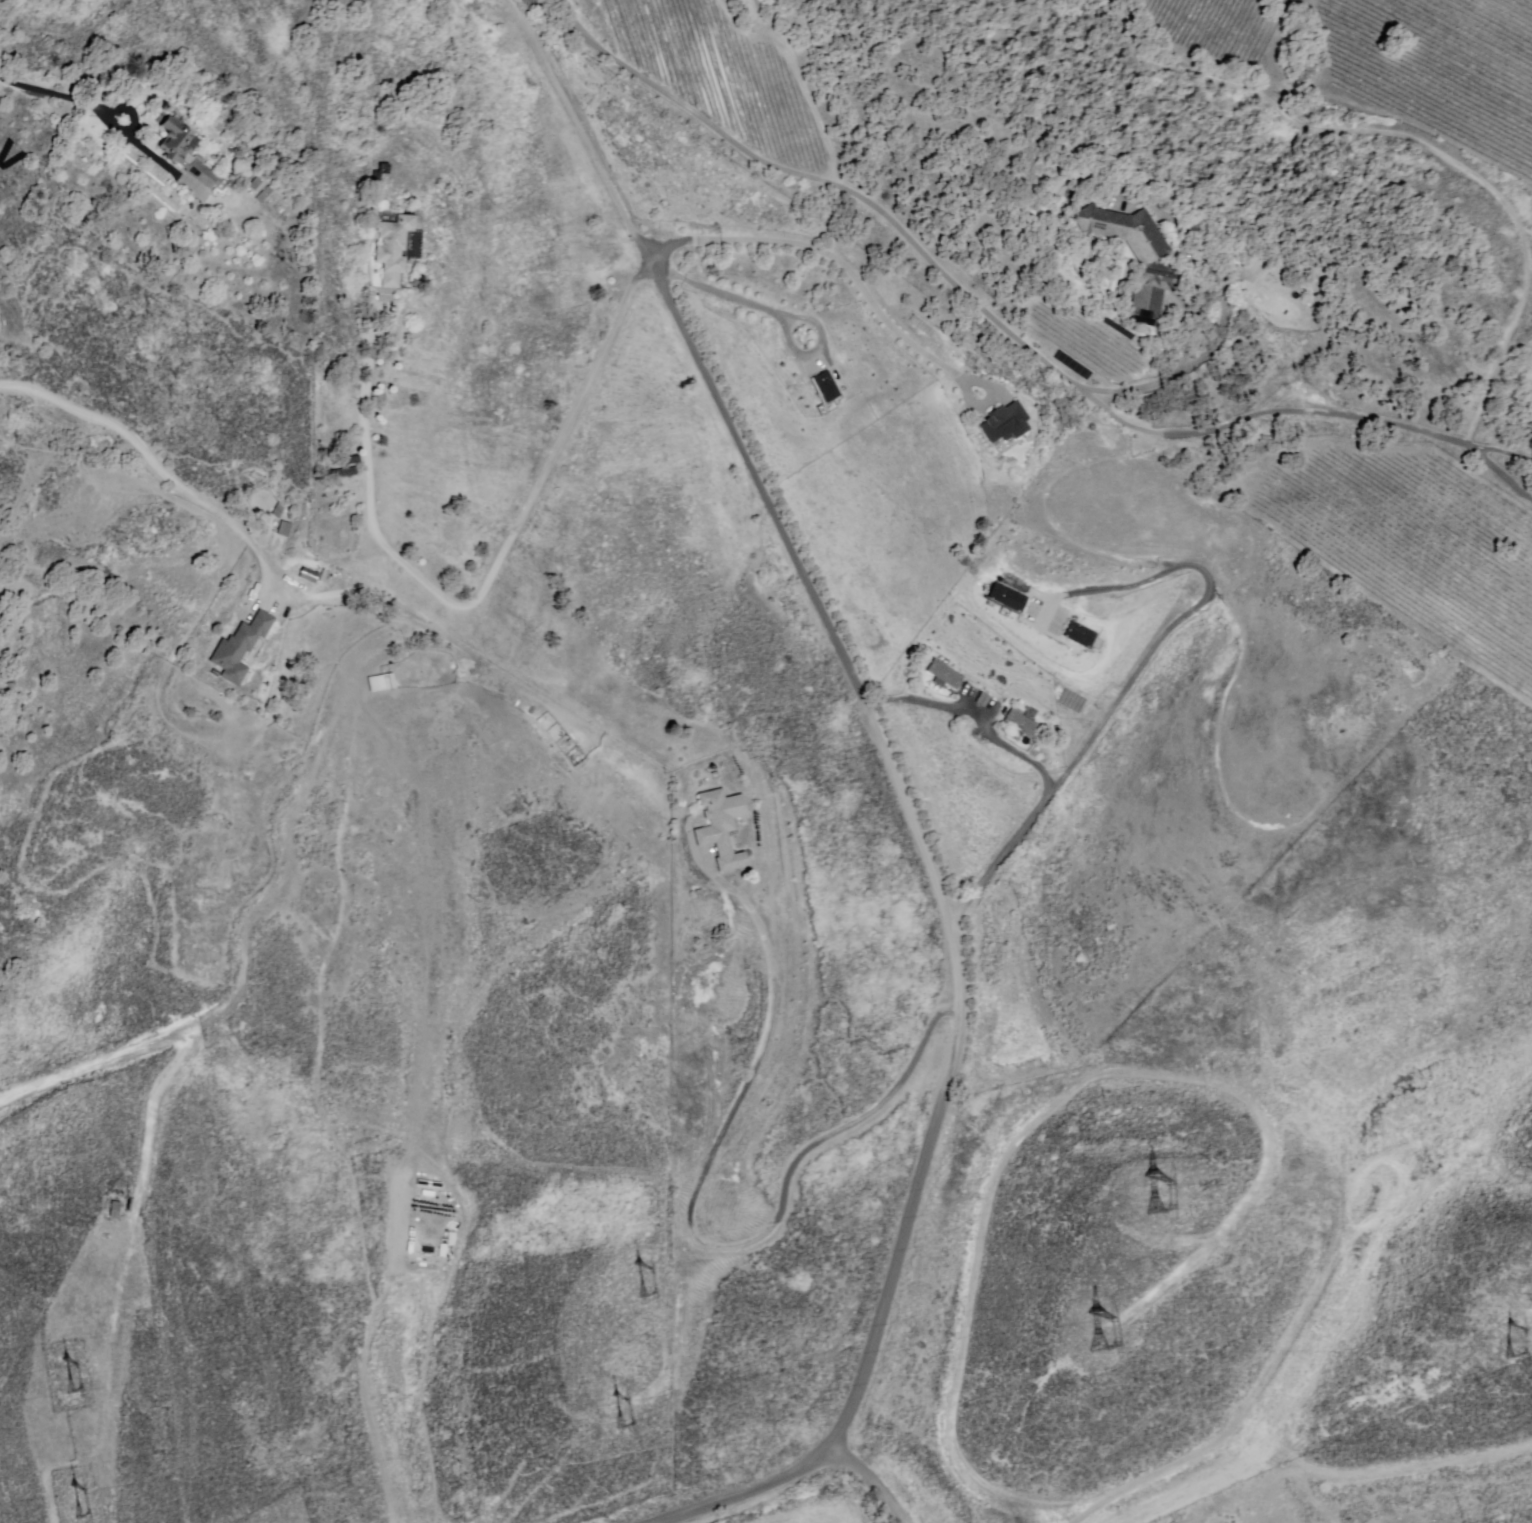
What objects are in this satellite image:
storage tank: (739, 3)
storage tank: (744, 12)
storage tank: (750, 21)
road: (61, 98)
road: (1411, 137)
building: (177, 138)
building: (204, 173)
road: (821, 182)
building: (255, 184)
building: (264, 194)
building: (393, 248)
building: (1136, 254)
road: (779, 315)
road: (1191, 342)
building: (823, 385)
road: (585, 389)
road: (1277, 415)
building: (1007, 423)
road: (1481, 451)
road: (154, 462)
building: (286, 529)
building: (308, 574)
building: (324, 576)
building: (1006, 599)
building: (1079, 637)
building: (240, 648)
building: (947, 675)
building: (381, 682)
building: (1023, 723)
road: (906, 790)
road: (1042, 813)
building: (723, 828)
power tower: (1155, 1197)
building: (112, 1210)
road: (696, 1226)
building: (452, 1238)
building: (426, 1250)
building: (443, 1250)
power tower: (635, 1276)
power tower: (1096, 1331)
power tower: (1508, 1342)
road: (369, 1350)
power tower: (64, 1371)
power tower: (609, 1413)
road: (875, 1481)
power tower: (70, 1502)

